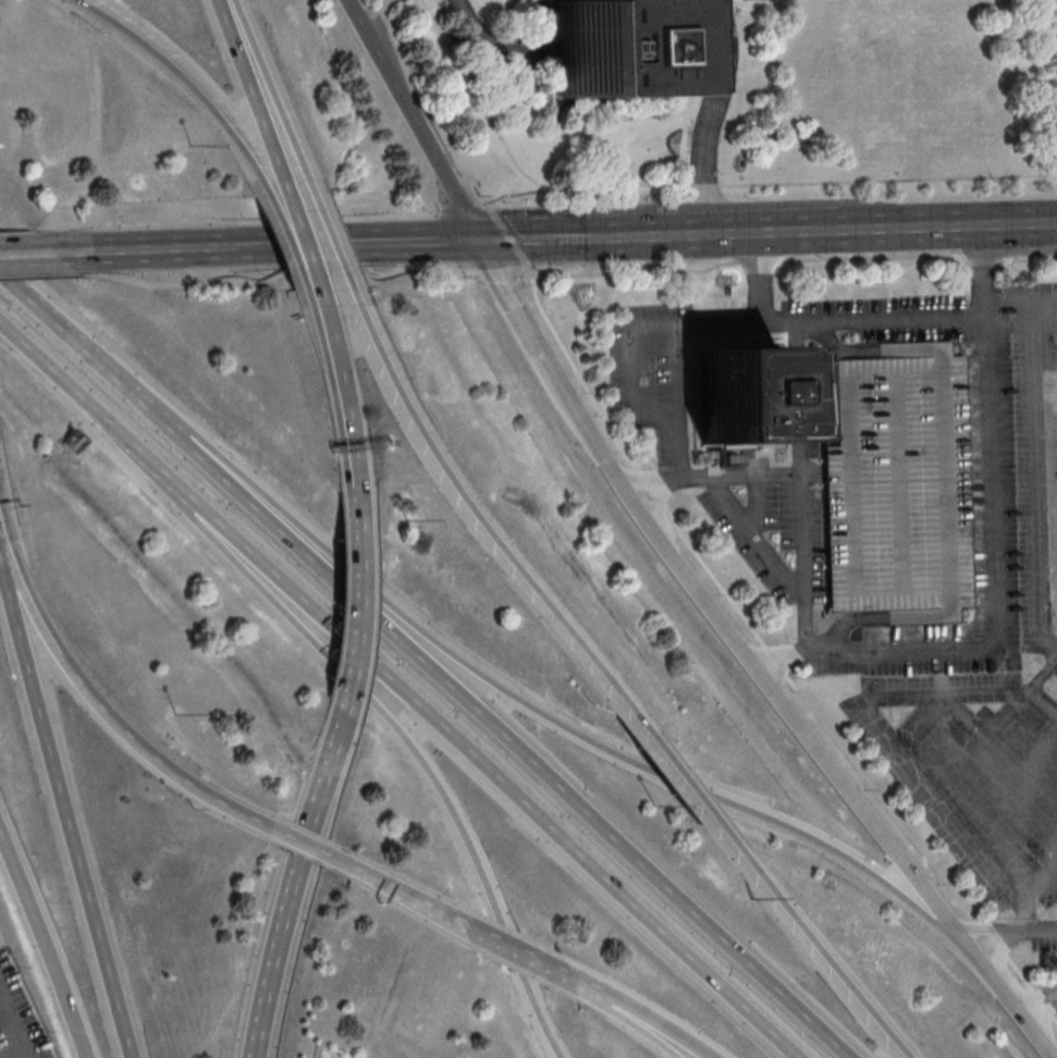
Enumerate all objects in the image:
road: (356, 4)
road: (491, 40)
building: (603, 47)
road: (185, 76)
road: (253, 89)
road: (262, 89)
road: (480, 103)
road: (710, 115)
road: (410, 119)
road: (1021, 222)
road: (912, 225)
road: (763, 230)
road: (286, 233)
road: (322, 233)
road: (581, 234)
road: (303, 235)
traffic signals: (477, 237)
road: (377, 241)
road: (257, 245)
road: (146, 249)
road: (27, 253)
road: (922, 255)
road: (432, 267)
road: (41, 276)
road: (515, 305)
road: (826, 320)
road: (85, 348)
road: (45, 360)
road: (632, 384)
road: (343, 387)
road: (330, 389)
building: (738, 393)
road: (591, 395)
road: (136, 444)
road: (799, 459)
road: (1035, 471)
road: (758, 475)
building: (896, 482)
parking garage: (896, 482)
road: (354, 491)
road: (471, 515)
road: (7, 542)
road: (765, 544)
road: (990, 553)
road: (247, 563)
road: (354, 602)
road: (754, 671)
road: (1041, 704)
road: (113, 718)
road: (554, 718)
road: (889, 735)
road: (509, 741)
road: (490, 773)
road: (672, 774)
road: (66, 812)
road: (2, 828)
road: (465, 832)
road: (309, 849)
road: (364, 875)
road: (299, 883)
road: (419, 903)
road: (983, 925)
road: (1035, 928)
road: (808, 944)
road: (49, 945)
road: (512, 951)
road: (1004, 955)
road: (578, 983)
road: (1038, 998)
road: (1013, 1006)
road: (651, 1021)
road: (634, 1024)

